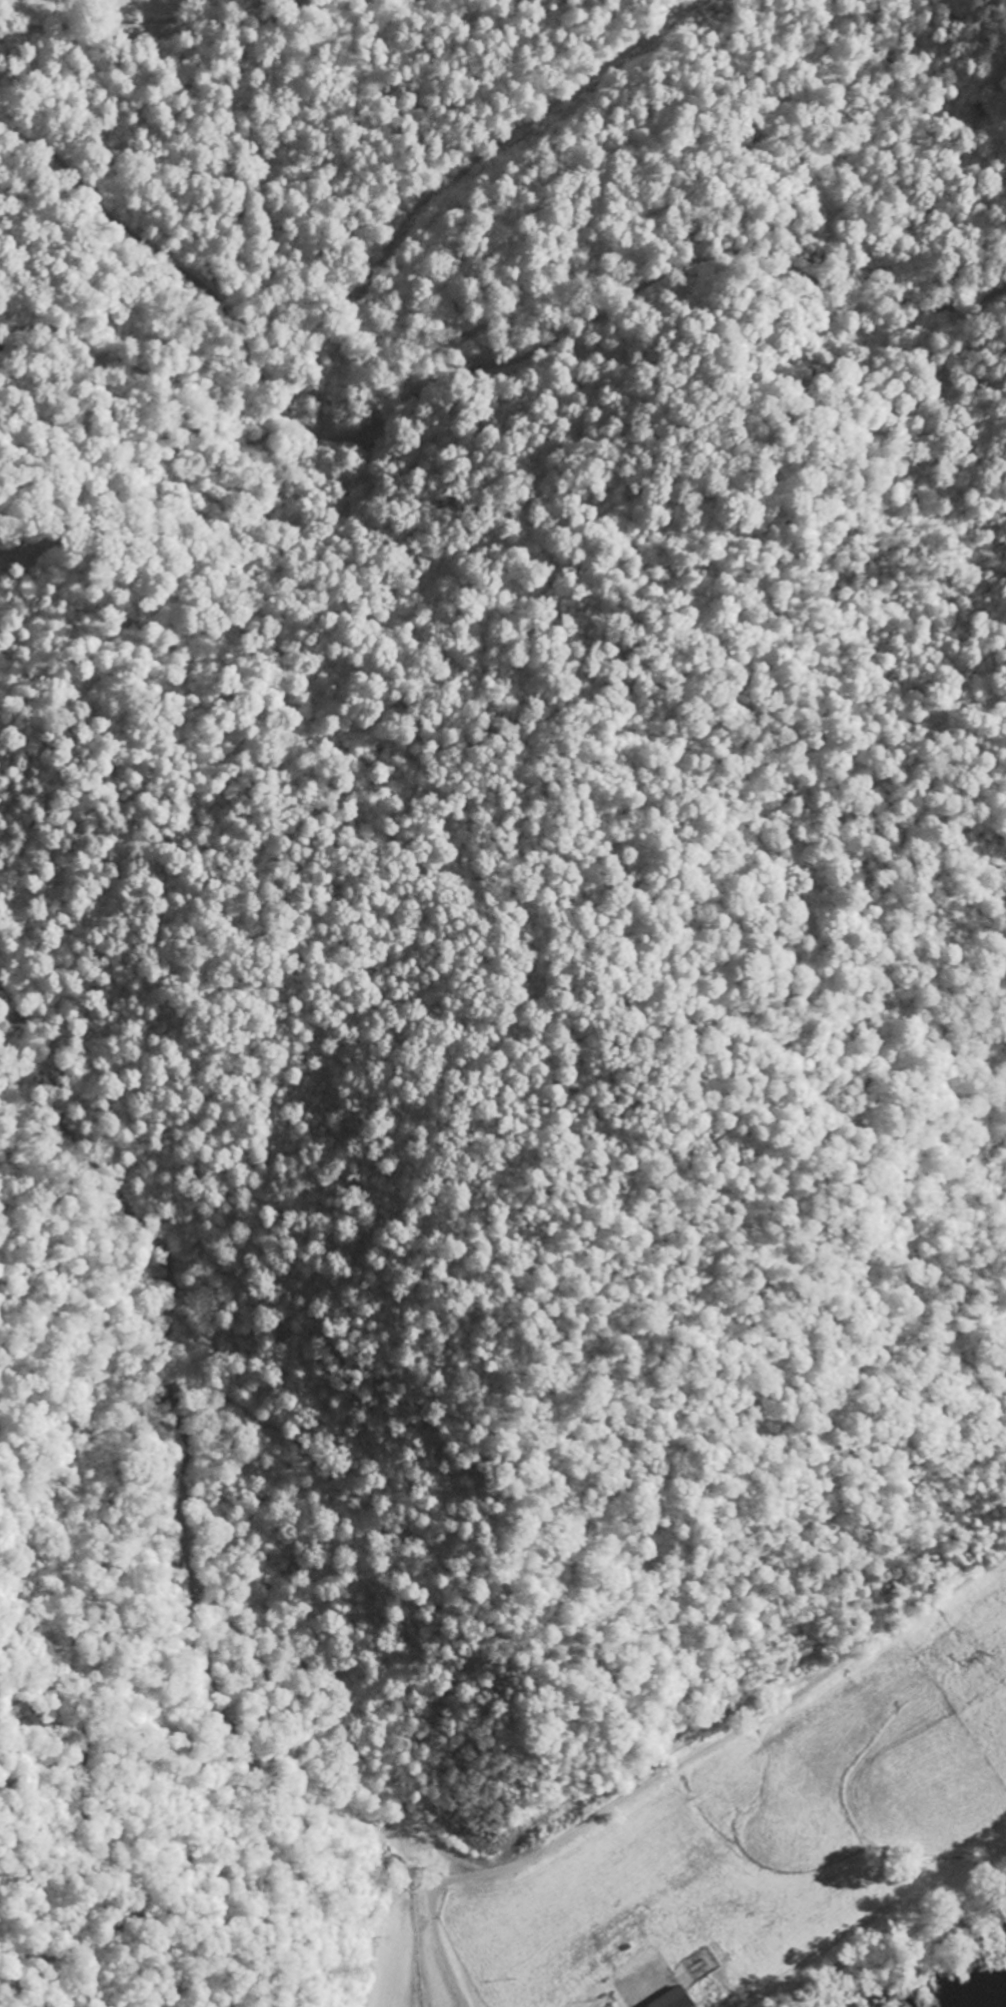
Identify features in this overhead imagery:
road: (183, 23)
road: (514, 815)
road: (651, 1779)
building: (633, 1992)
building: (668, 2000)

